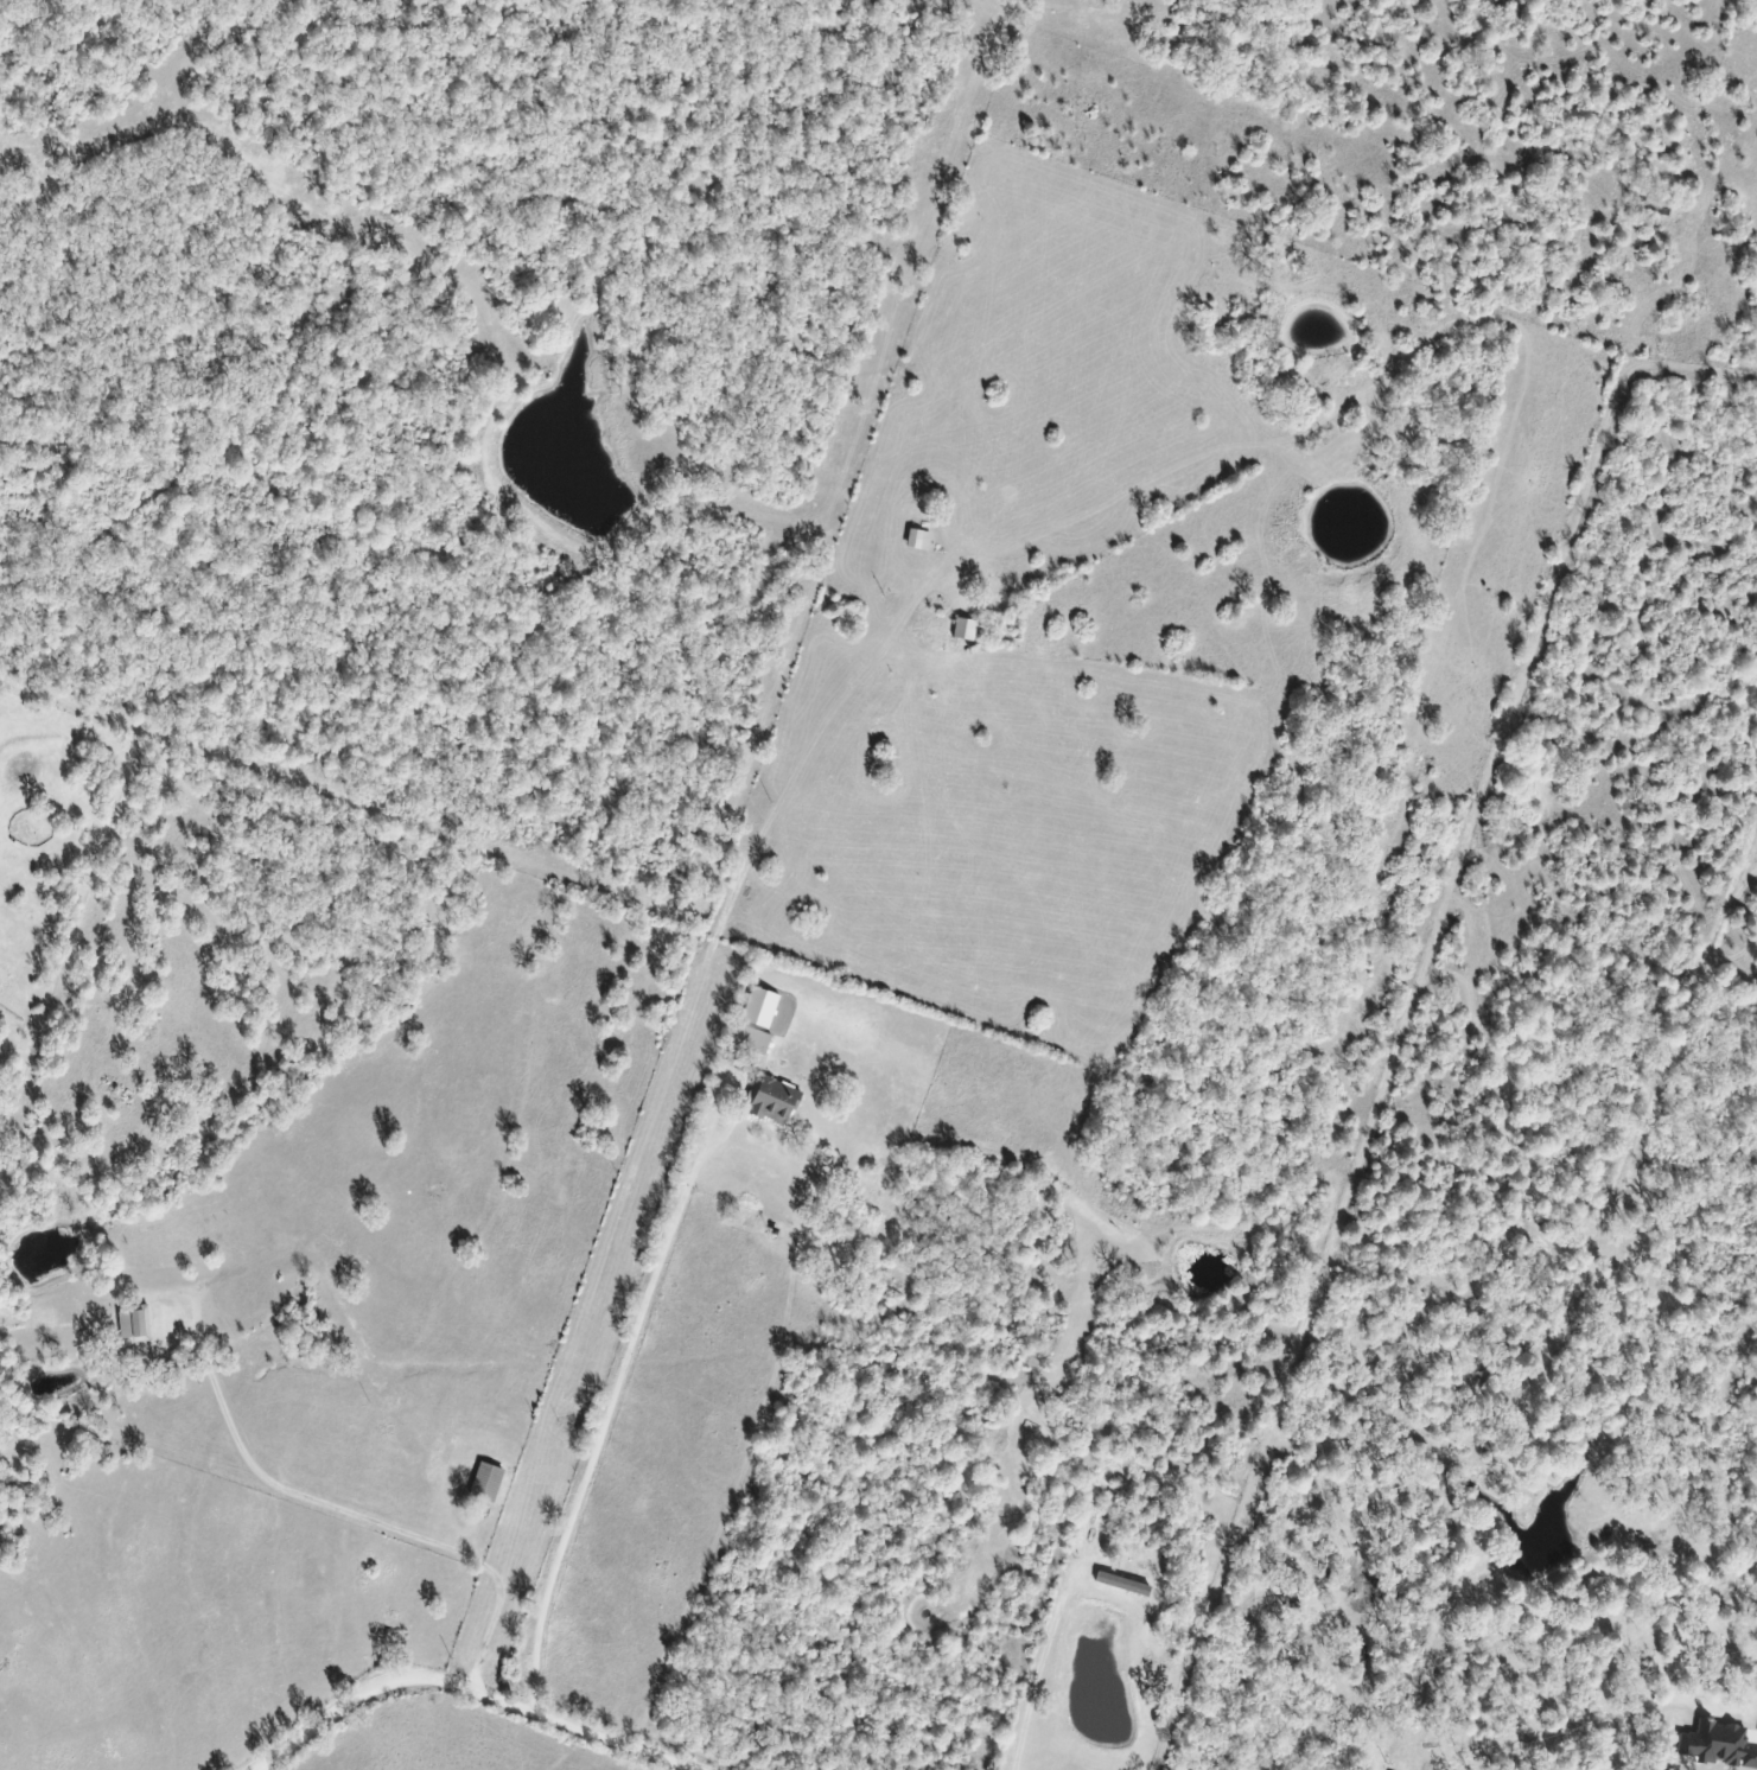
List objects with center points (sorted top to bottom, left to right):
building: (921, 540)
building: (967, 630)
building: (763, 1007)
building: (749, 1045)
building: (775, 1099)
building: (489, 1482)
road: (466, 1688)

